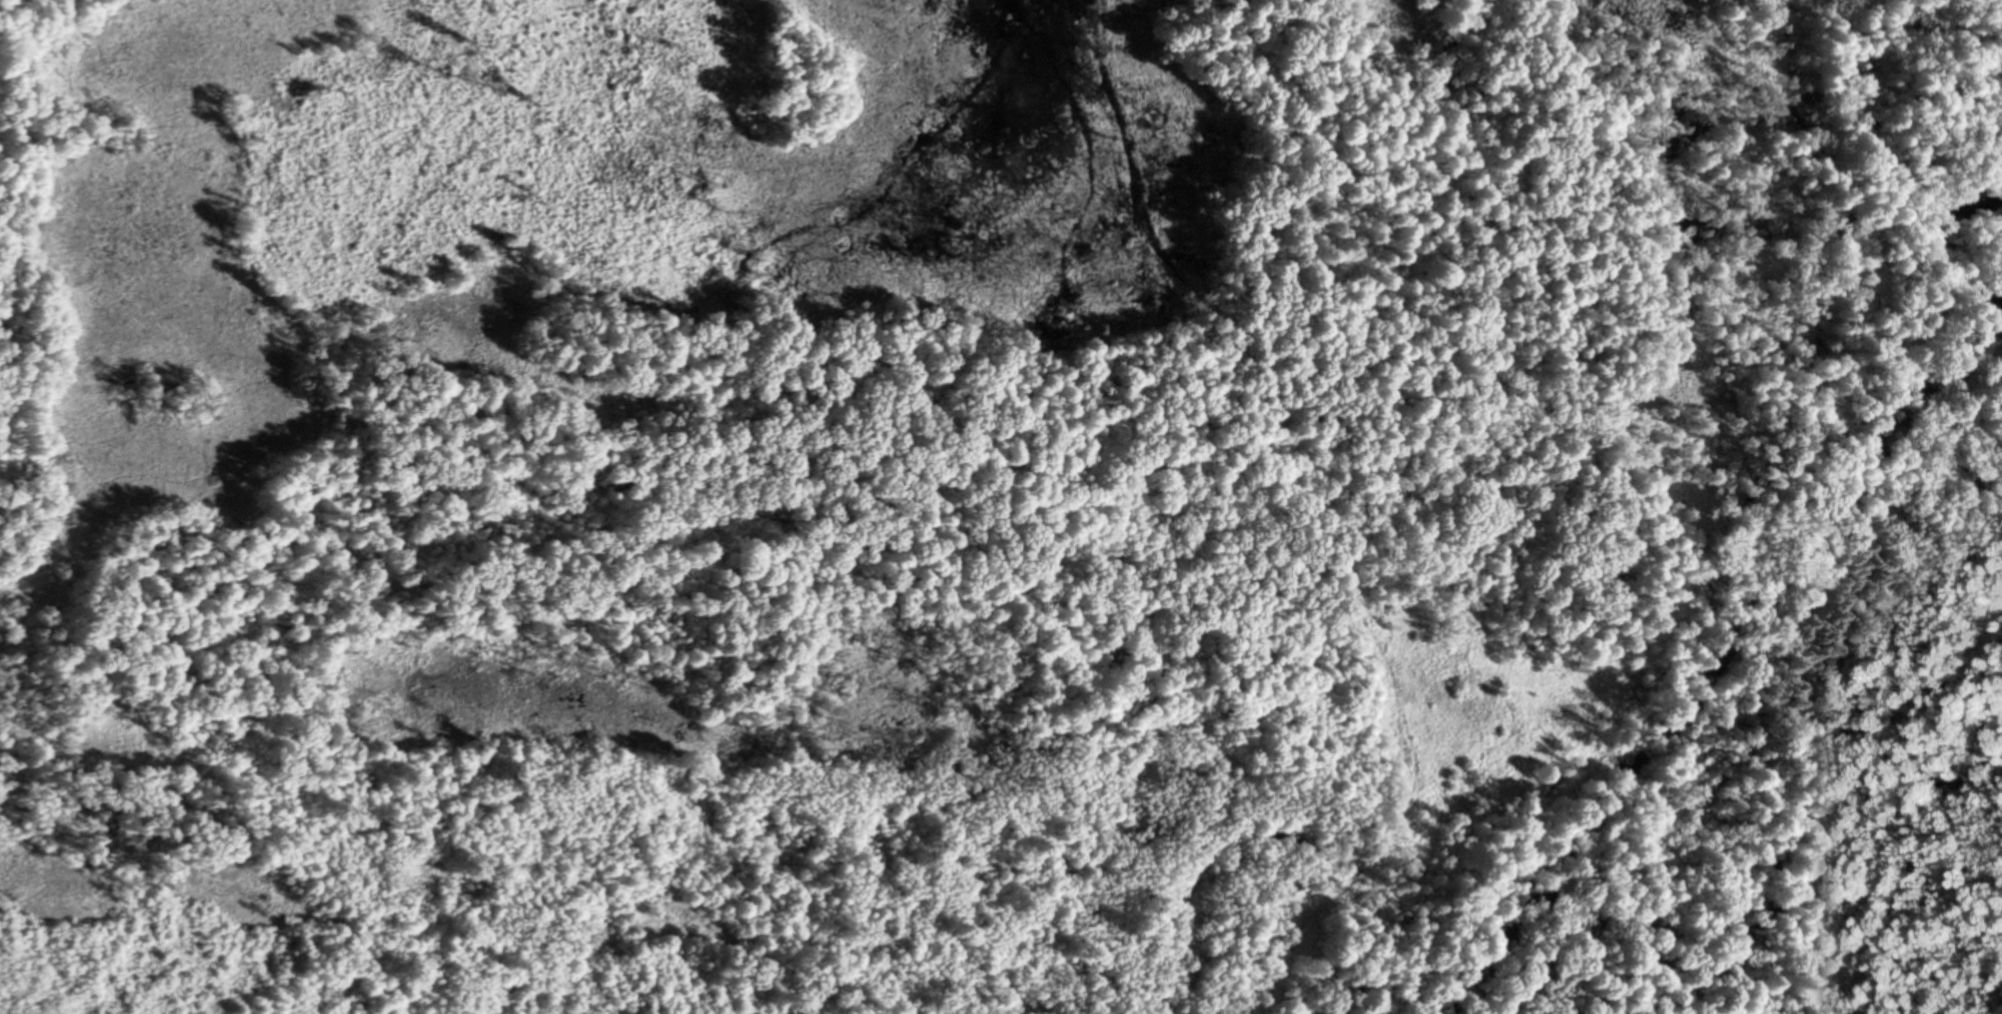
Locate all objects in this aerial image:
road: (1784, 572)

